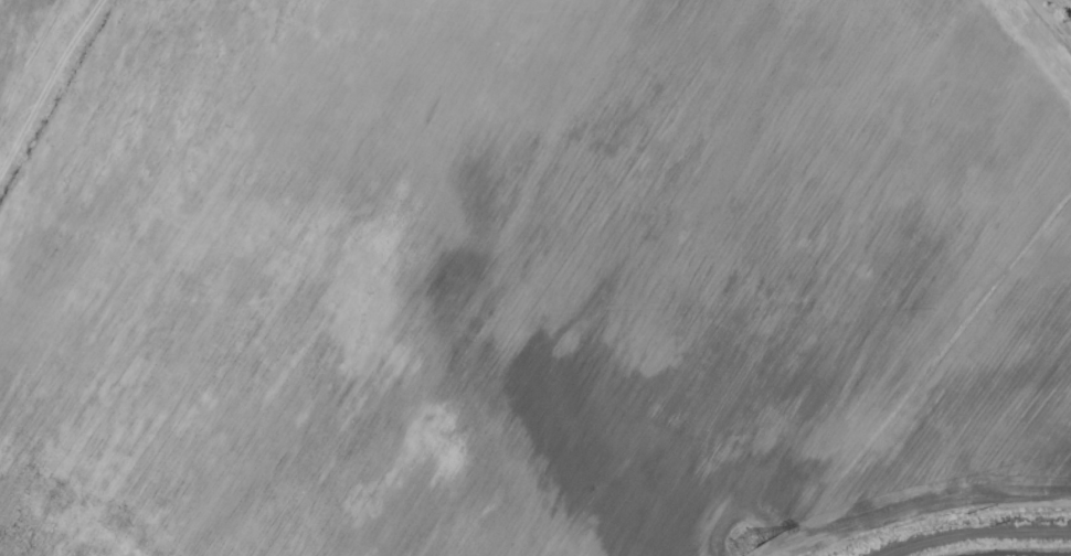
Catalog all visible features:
road: (983, 533)
power tower: (742, 542)

